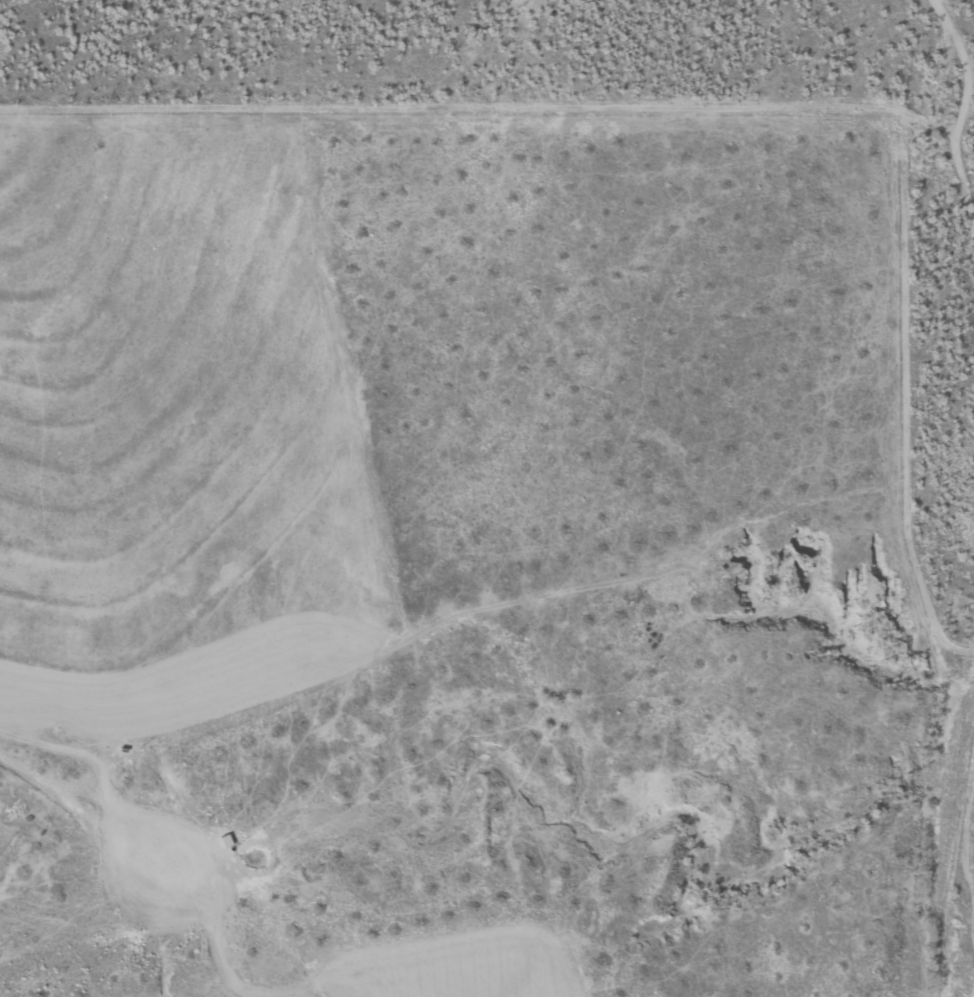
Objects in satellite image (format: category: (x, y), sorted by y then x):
road: (258, 937)

